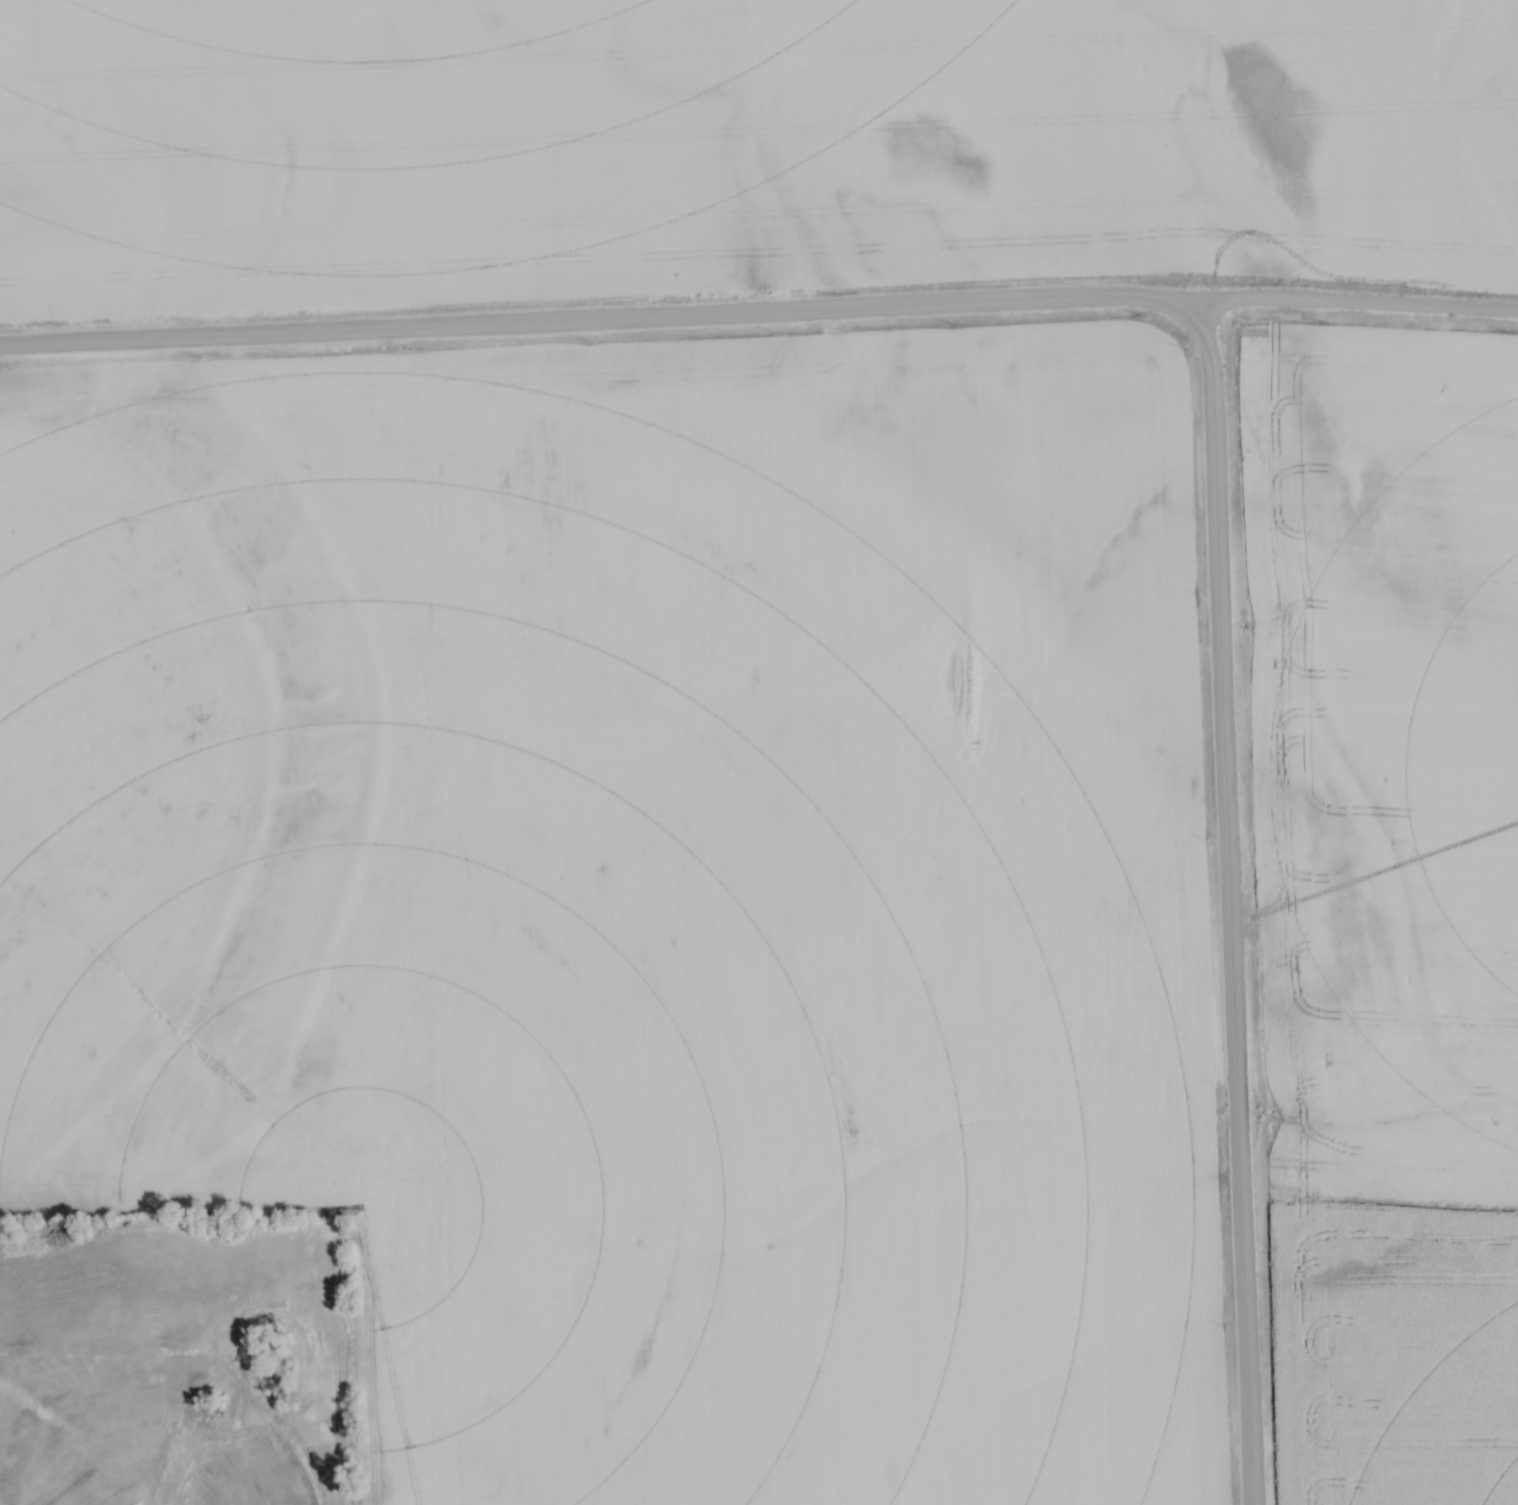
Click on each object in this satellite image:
road: (1349, 297)
road: (592, 317)
road: (1231, 902)

